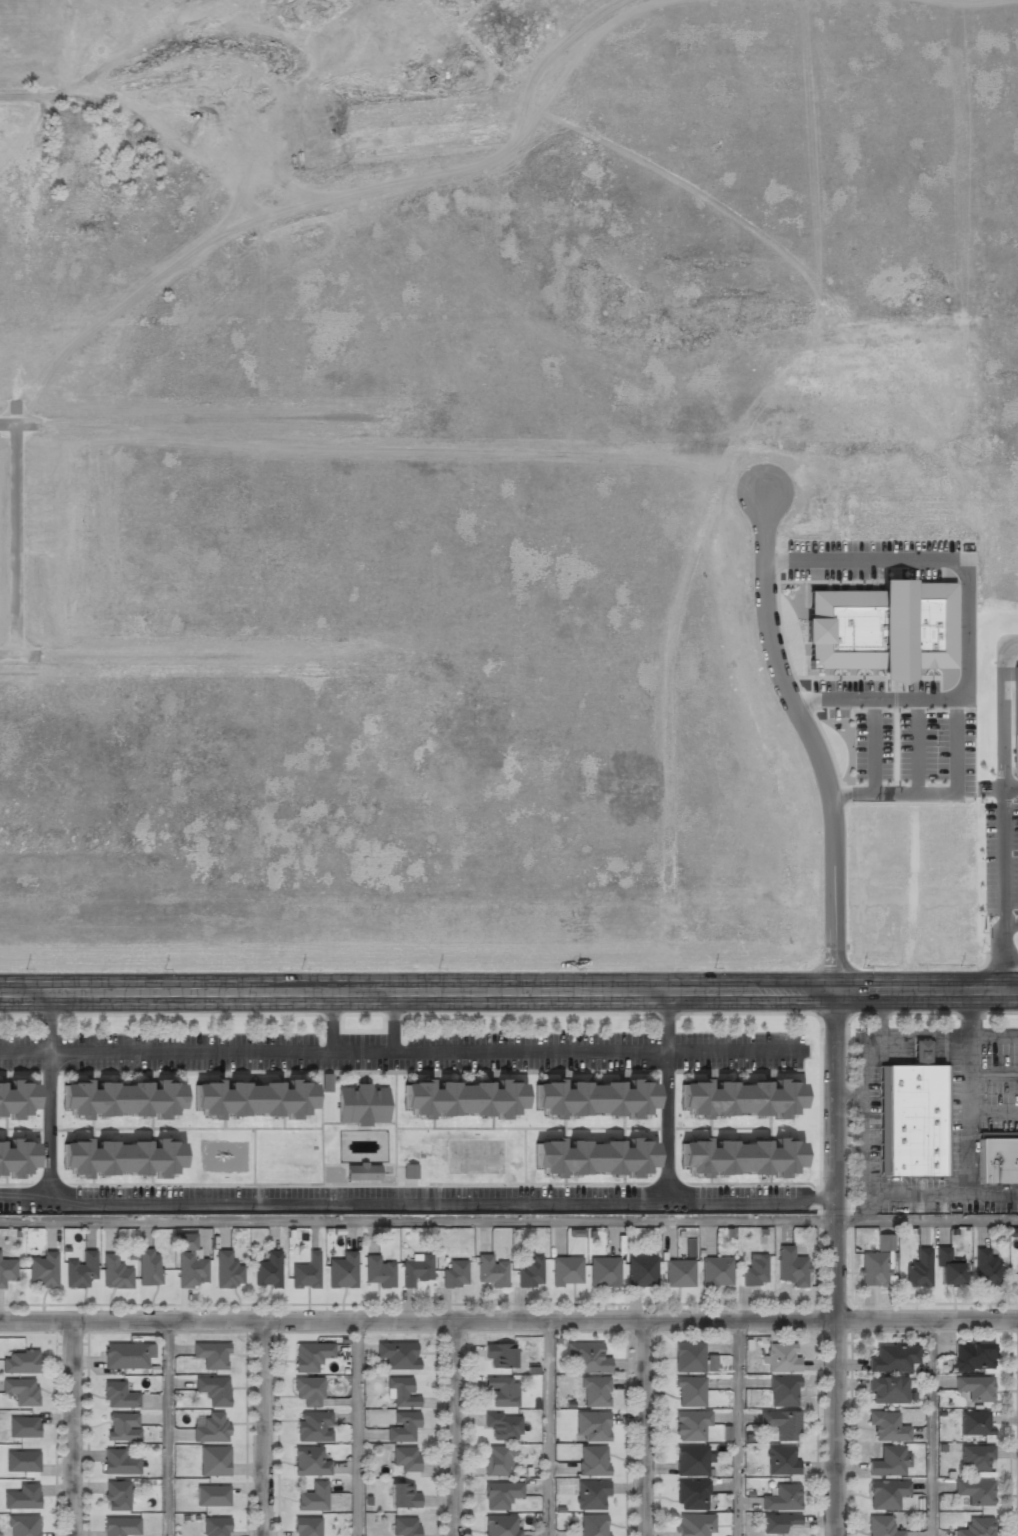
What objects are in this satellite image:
building: (883, 628)
building: (1015, 715)
road: (1010, 787)
road: (1003, 813)
road: (1010, 924)
road: (509, 992)
road: (839, 1004)
road: (331, 1022)
road: (391, 1022)
road: (403, 1051)
building: (921, 1052)
building: (325, 1082)
road: (49, 1097)
road: (666, 1097)
building: (17, 1098)
building: (252, 1098)
building: (461, 1098)
building: (592, 1098)
building: (739, 1098)
building: (120, 1099)
building: (362, 1104)
building: (913, 1120)
building: (120, 1157)
building: (592, 1157)
building: (738, 1157)
building: (16, 1158)
building: (997, 1160)
building: (361, 1172)
building: (409, 1172)
road: (419, 1203)
road: (508, 1221)
building: (883, 1243)
building: (189, 1265)
building: (791, 1267)
building: (149, 1268)
building: (947, 1268)
building: (918, 1269)
building: (985, 1269)
building: (267, 1270)
building: (342, 1270)
building: (874, 1270)
building: (7, 1271)
building: (43, 1271)
building: (80, 1271)
building: (228, 1271)
building: (416, 1271)
building: (491, 1271)
building: (566, 1271)
building: (641, 1271)
building: (754, 1271)
building: (305, 1272)
building: (379, 1272)
building: (530, 1272)
building: (604, 1272)
building: (716, 1272)
building: (115, 1274)
building: (678, 1274)
building: (1017, 1274)
building: (454, 1275)
road: (509, 1323)
building: (211, 1355)
building: (498, 1355)
building: (398, 1356)
building: (125, 1357)
building: (311, 1357)
building: (688, 1357)
building: (972, 1357)
building: (587, 1358)
building: (782, 1358)
building: (892, 1359)
building: (20, 1362)
building: (974, 1389)
building: (212, 1390)
building: (309, 1391)
building: (502, 1391)
building: (783, 1391)
building: (886, 1391)
building: (22, 1392)
building: (400, 1392)
building: (595, 1392)
building: (689, 1392)
building: (118, 1395)
building: (781, 1424)
building: (974, 1424)
building: (689, 1425)
building: (123, 1426)
building: (503, 1426)
building: (591, 1426)
building: (887, 1426)
building: (313, 1427)
building: (403, 1427)
building: (23, 1428)
building: (210, 1428)
road: (75, 1429)
road: (167, 1429)
road: (267, 1429)
road: (358, 1429)
road: (457, 1429)
road: (547, 1429)
road: (651, 1429)
road: (739, 1429)
road: (936, 1429)
building: (975, 1458)
building: (404, 1459)
building: (496, 1460)
building: (782, 1460)
building: (214, 1461)
building: (309, 1461)
building: (593, 1461)
building: (690, 1461)
building: (21, 1462)
building: (120, 1462)
building: (889, 1462)
building: (974, 1492)
building: (886, 1494)
building: (500, 1495)
building: (592, 1495)
building: (118, 1496)
building: (212, 1496)
building: (402, 1496)
building: (691, 1496)
building: (313, 1497)
building: (21, 1498)
building: (782, 1498)
building: (777, 1523)
building: (593, 1525)
building: (694, 1525)
building: (23, 1526)
building: (500, 1526)
building: (881, 1526)
building: (121, 1527)
building: (215, 1527)
building: (306, 1527)
building: (405, 1527)
building: (976, 1527)

